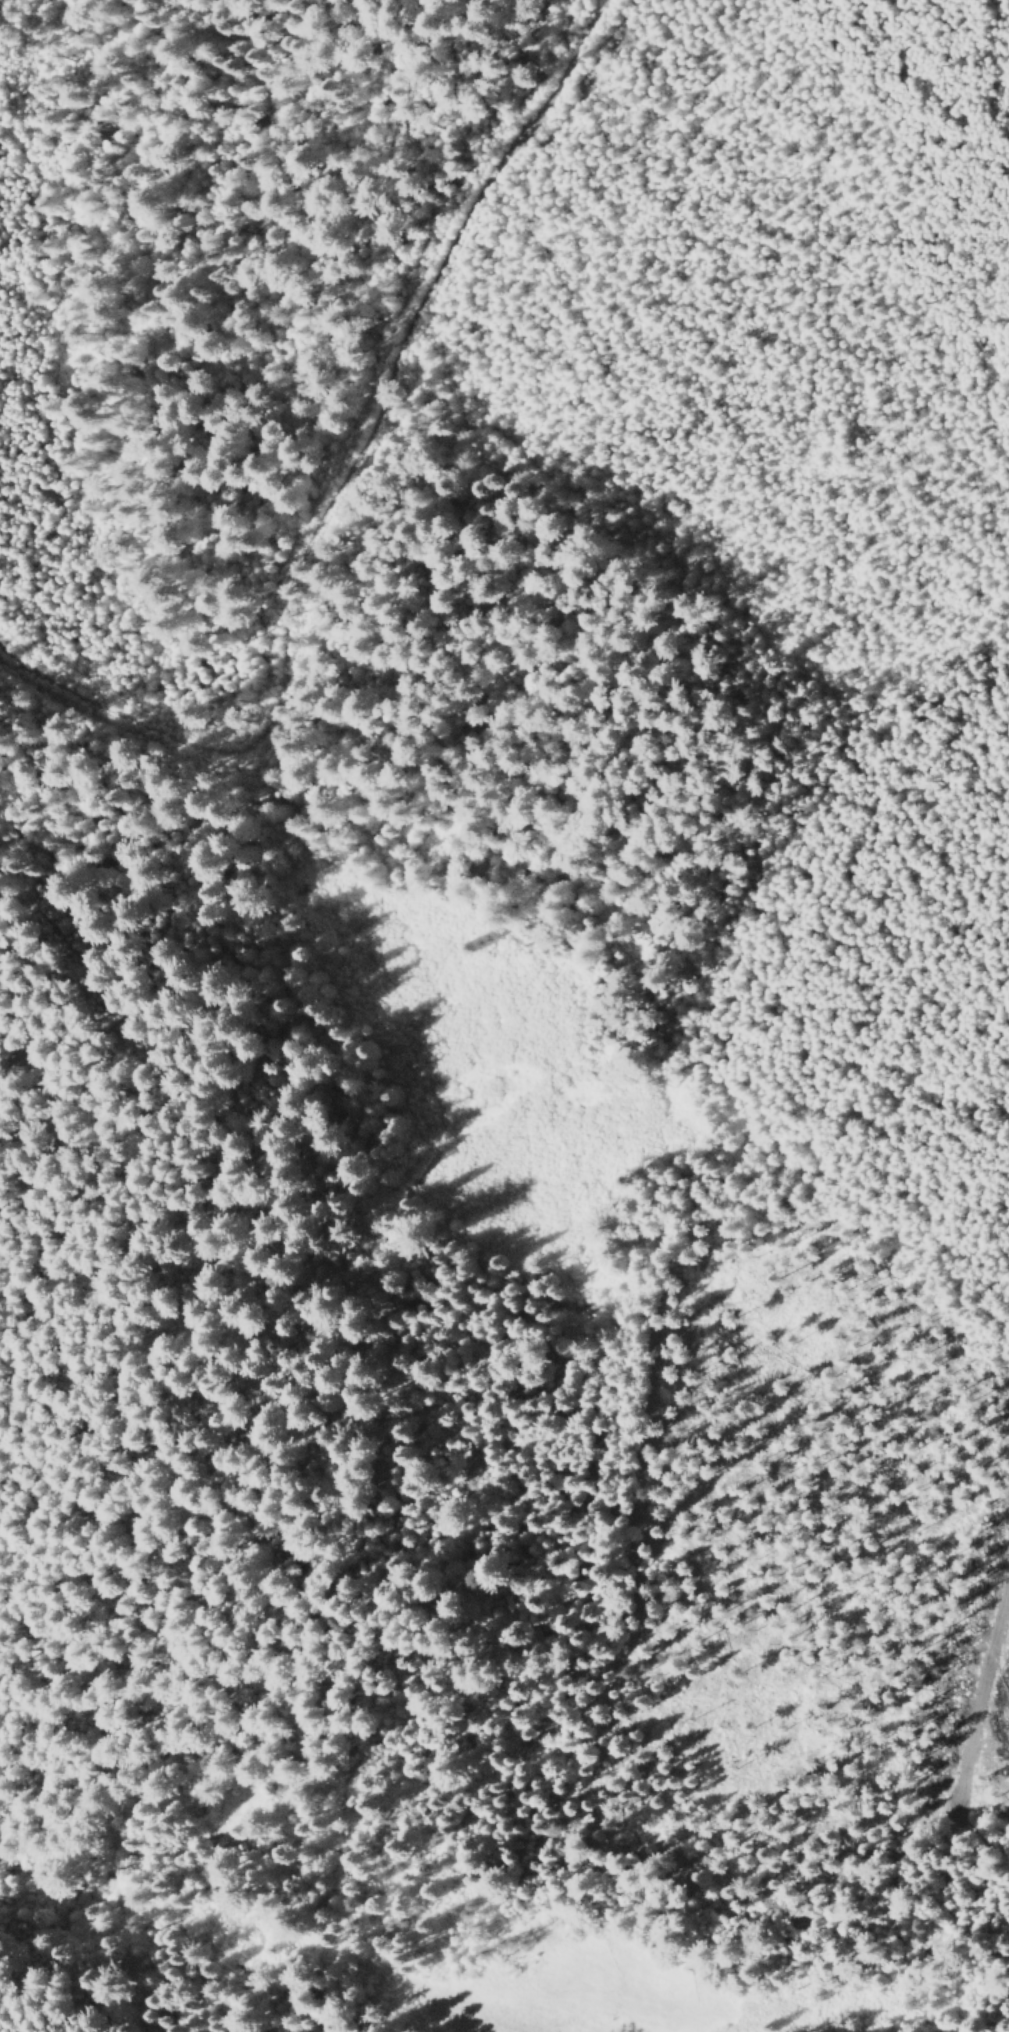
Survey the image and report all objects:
road: (348, 487)
road: (973, 1747)
parking lot: (941, 1911)
road: (962, 1945)

